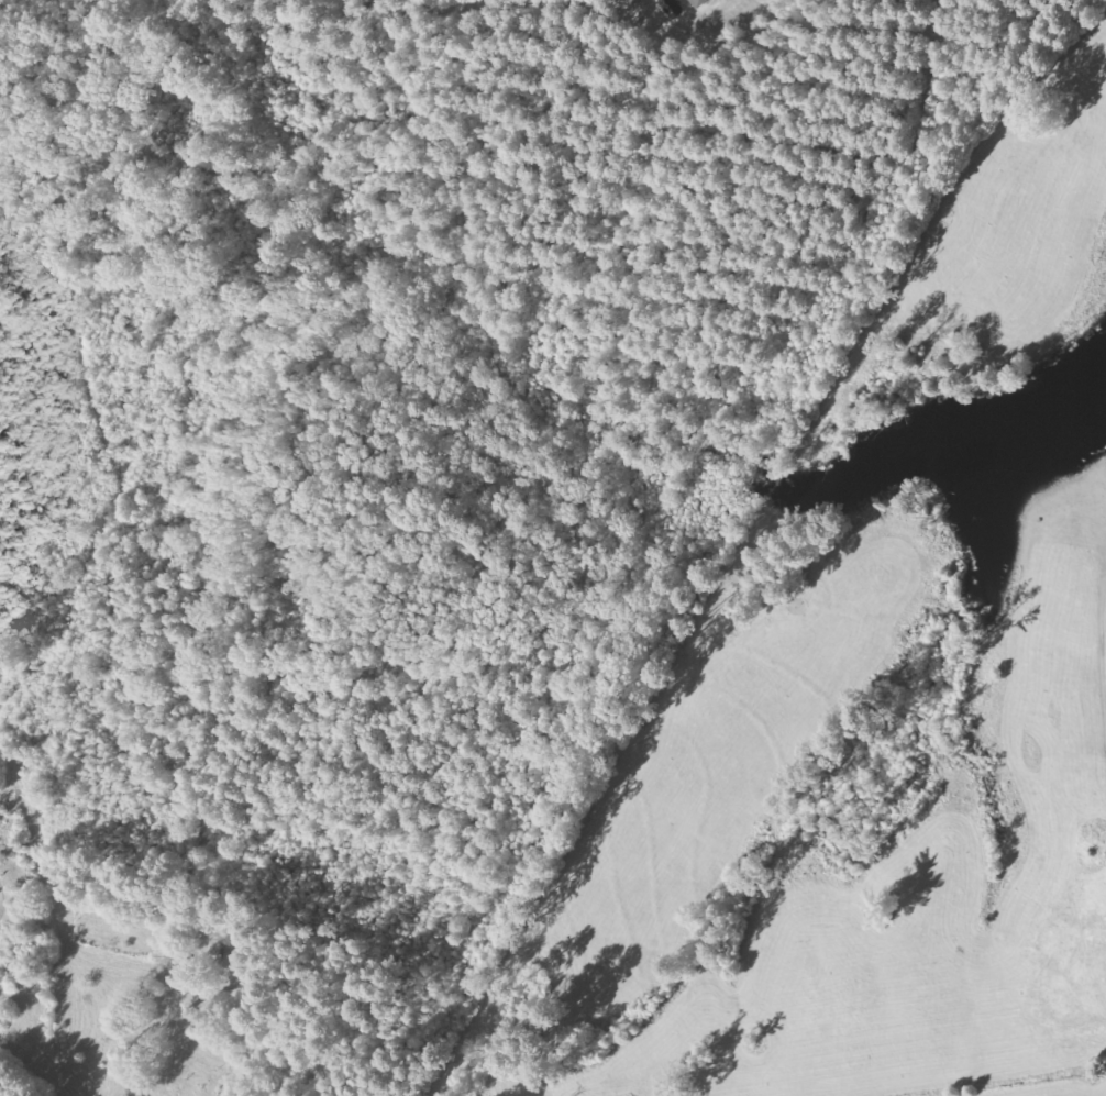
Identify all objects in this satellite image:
building: (696, 2)

